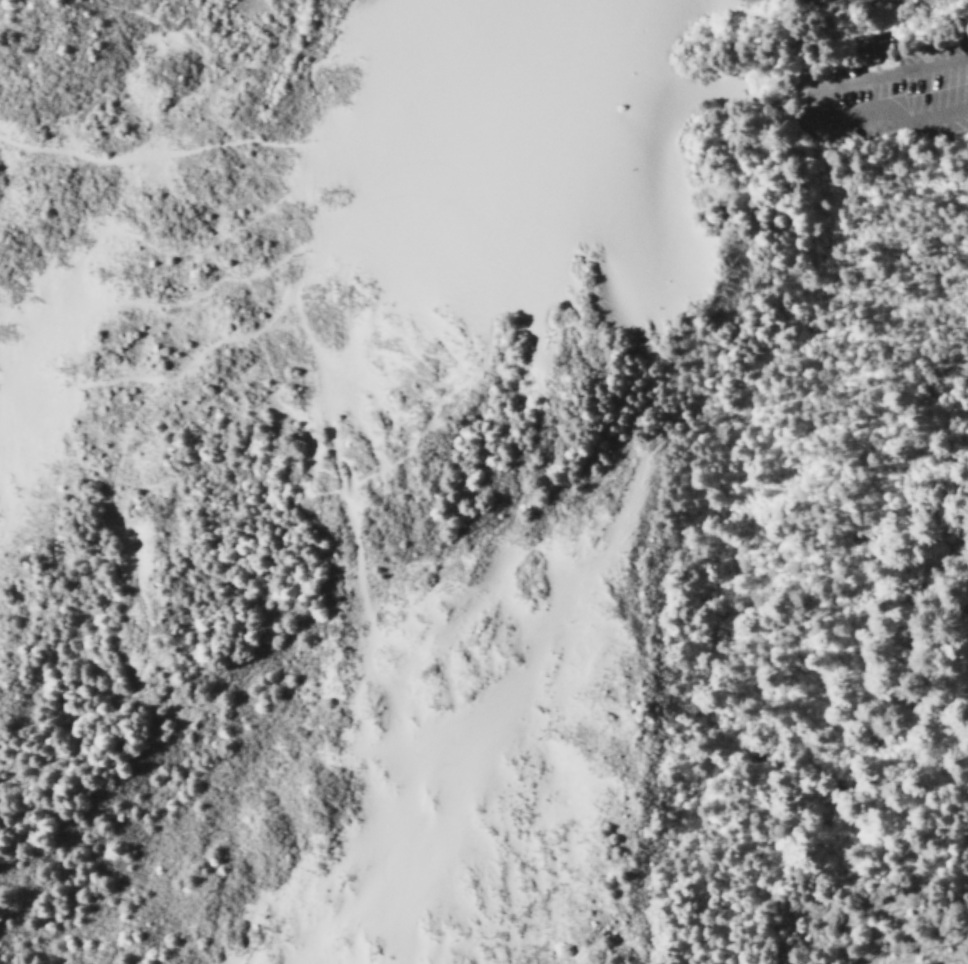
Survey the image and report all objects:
building: (868, 42)
road: (824, 54)
parking lot: (879, 93)
road: (811, 101)

